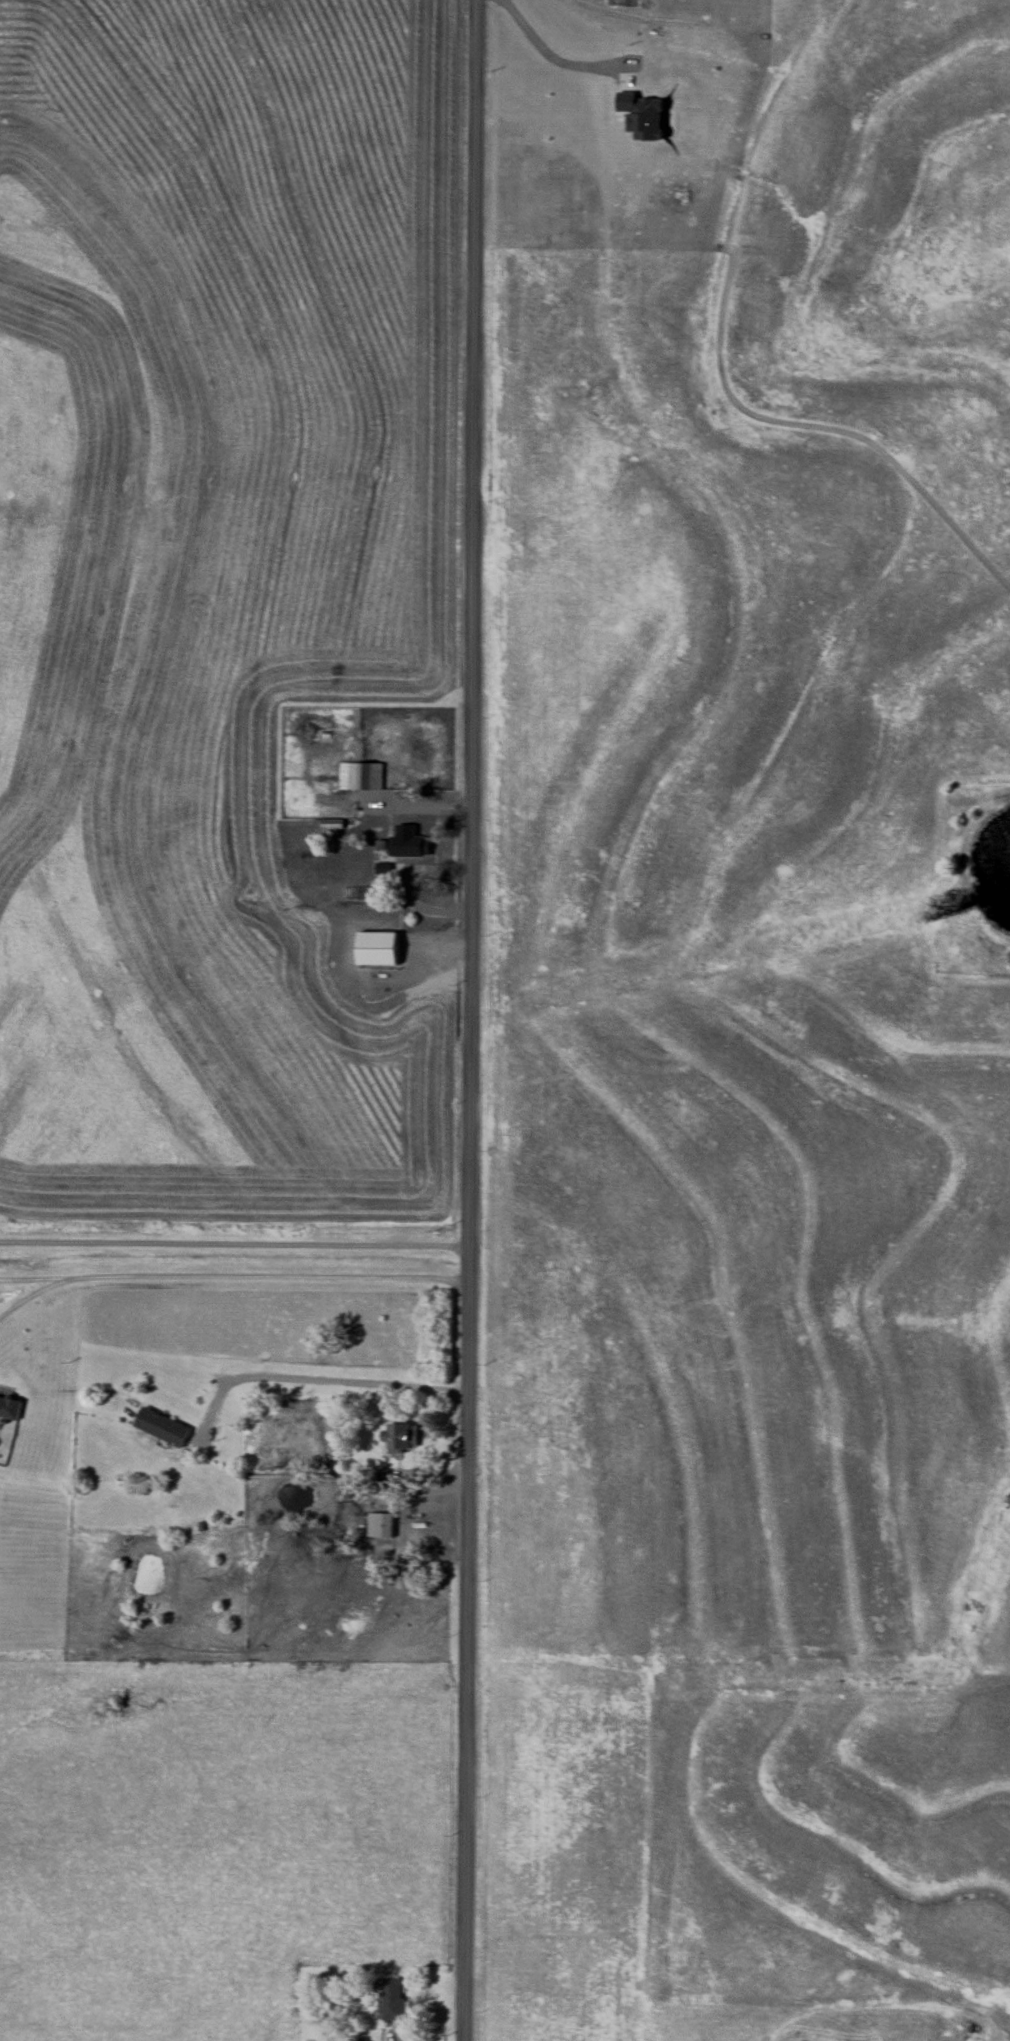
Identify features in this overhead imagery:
building: (362, 776)
building: (409, 846)
building: (377, 948)
road: (471, 1020)
road: (235, 1244)
road: (238, 1276)
road: (30, 1295)
road: (259, 1375)
building: (10, 1408)
building: (162, 1427)
building: (401, 1437)
building: (380, 1525)
building: (392, 2000)

